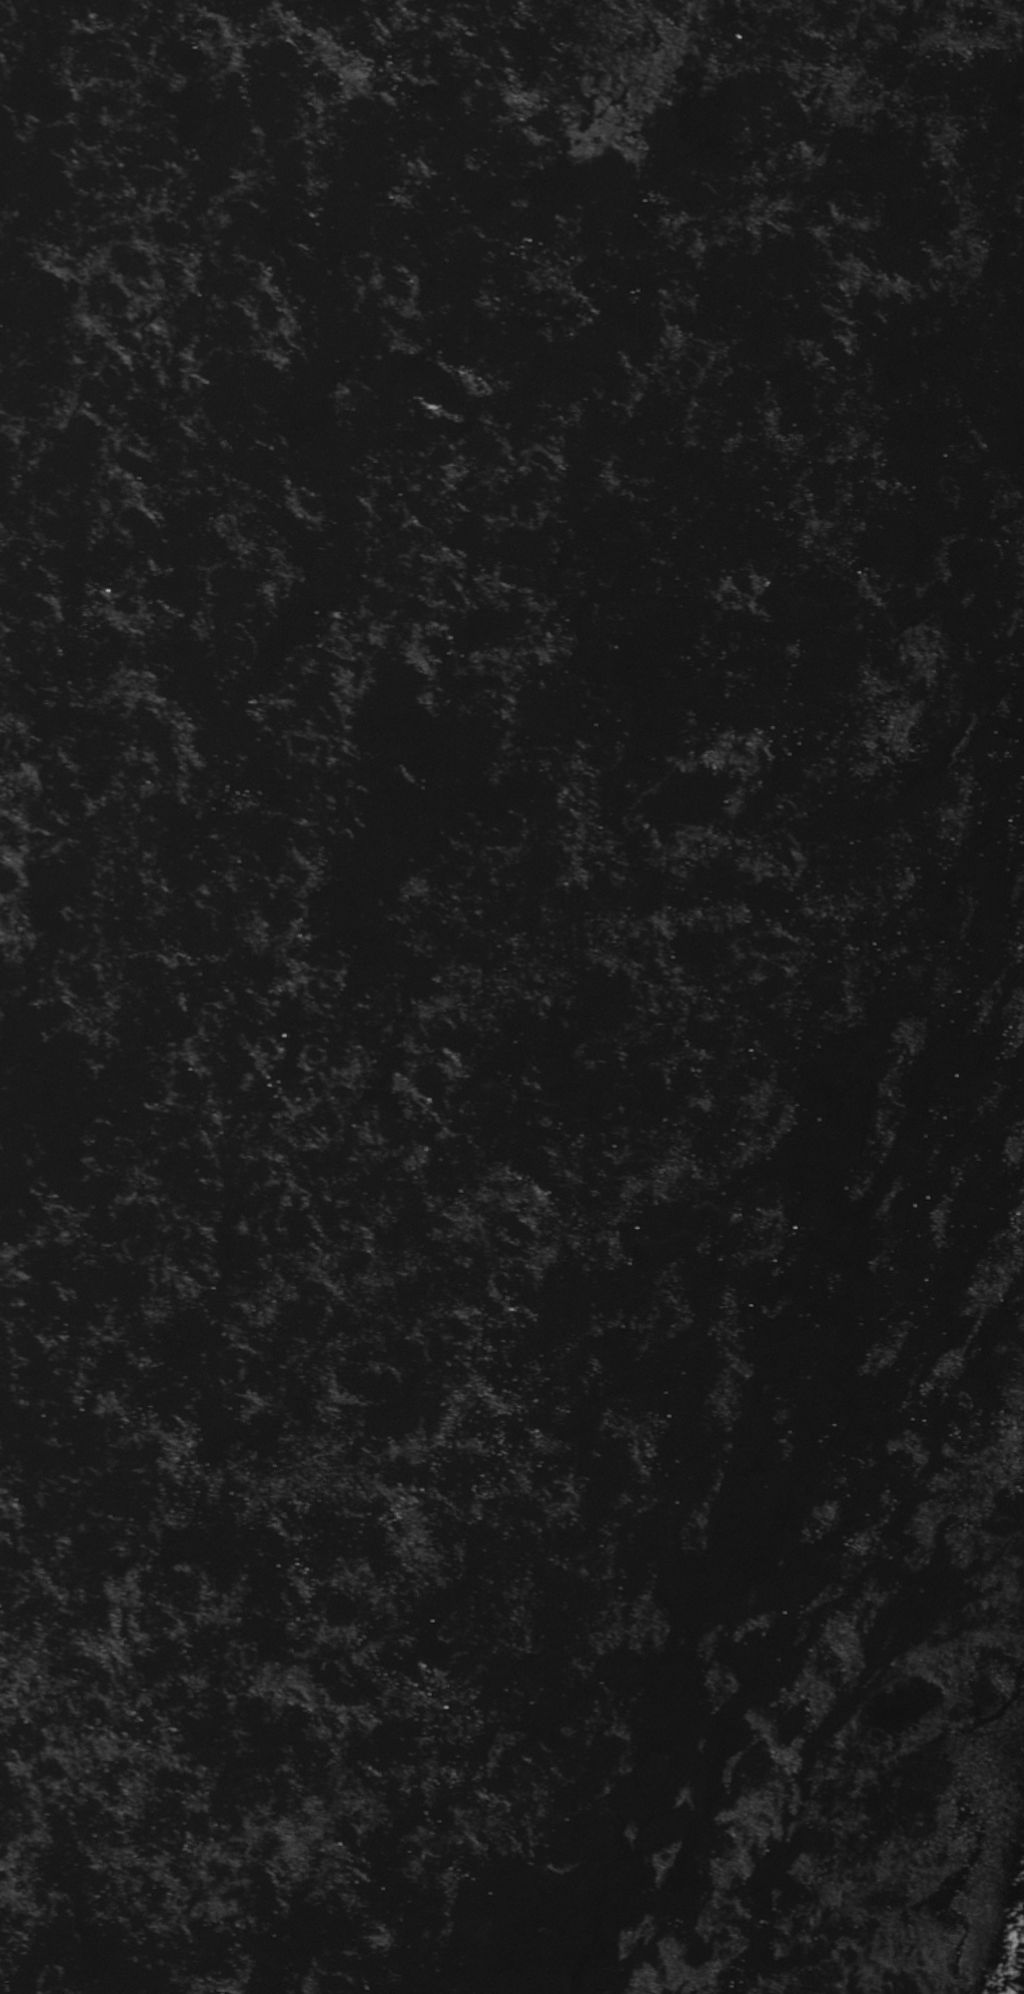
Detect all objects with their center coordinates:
river: (328, 641)

